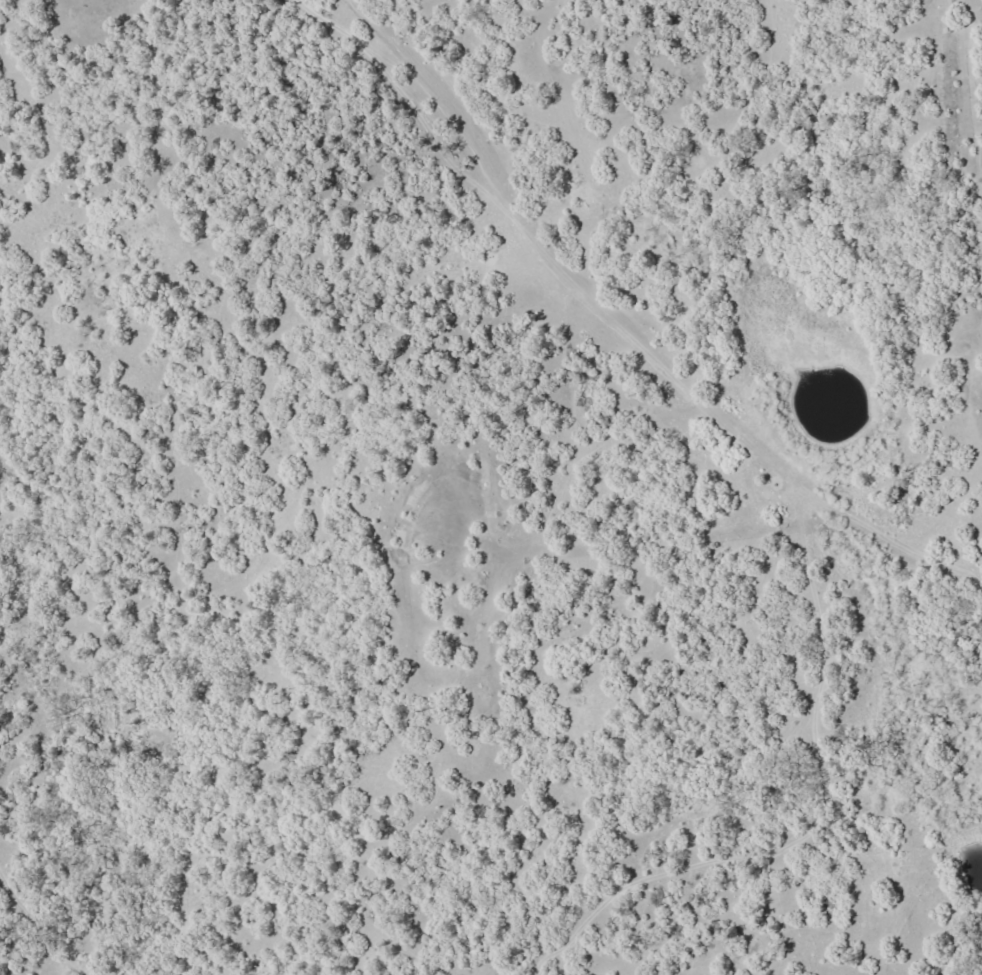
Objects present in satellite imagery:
road: (498, 175)

